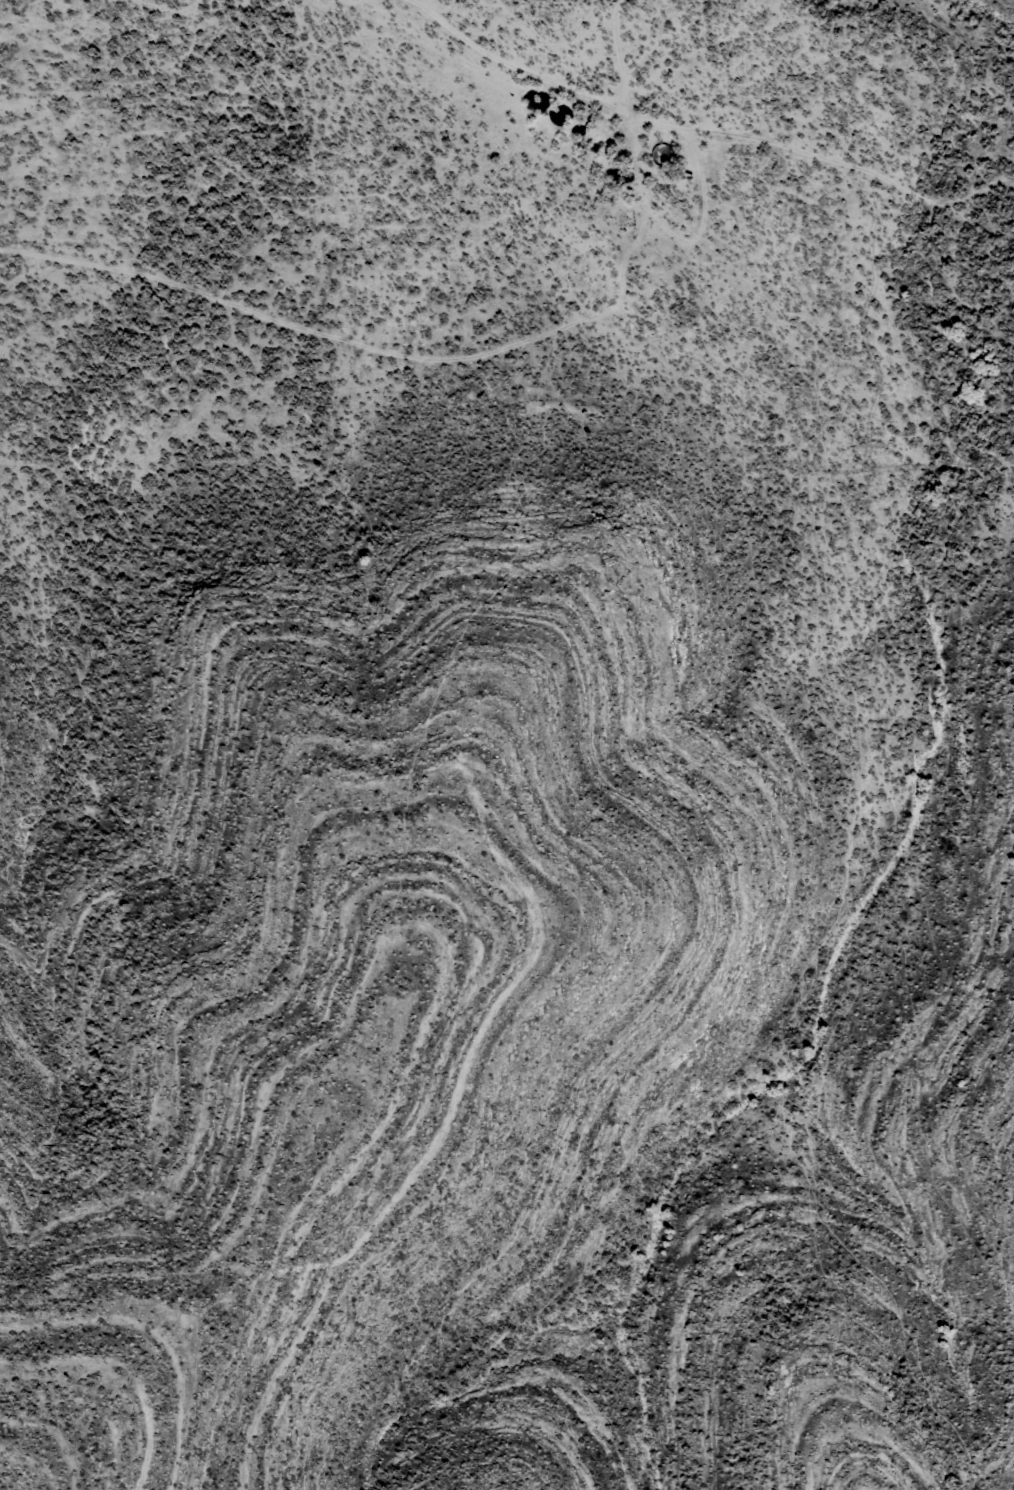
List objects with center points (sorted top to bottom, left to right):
road: (497, 72)

